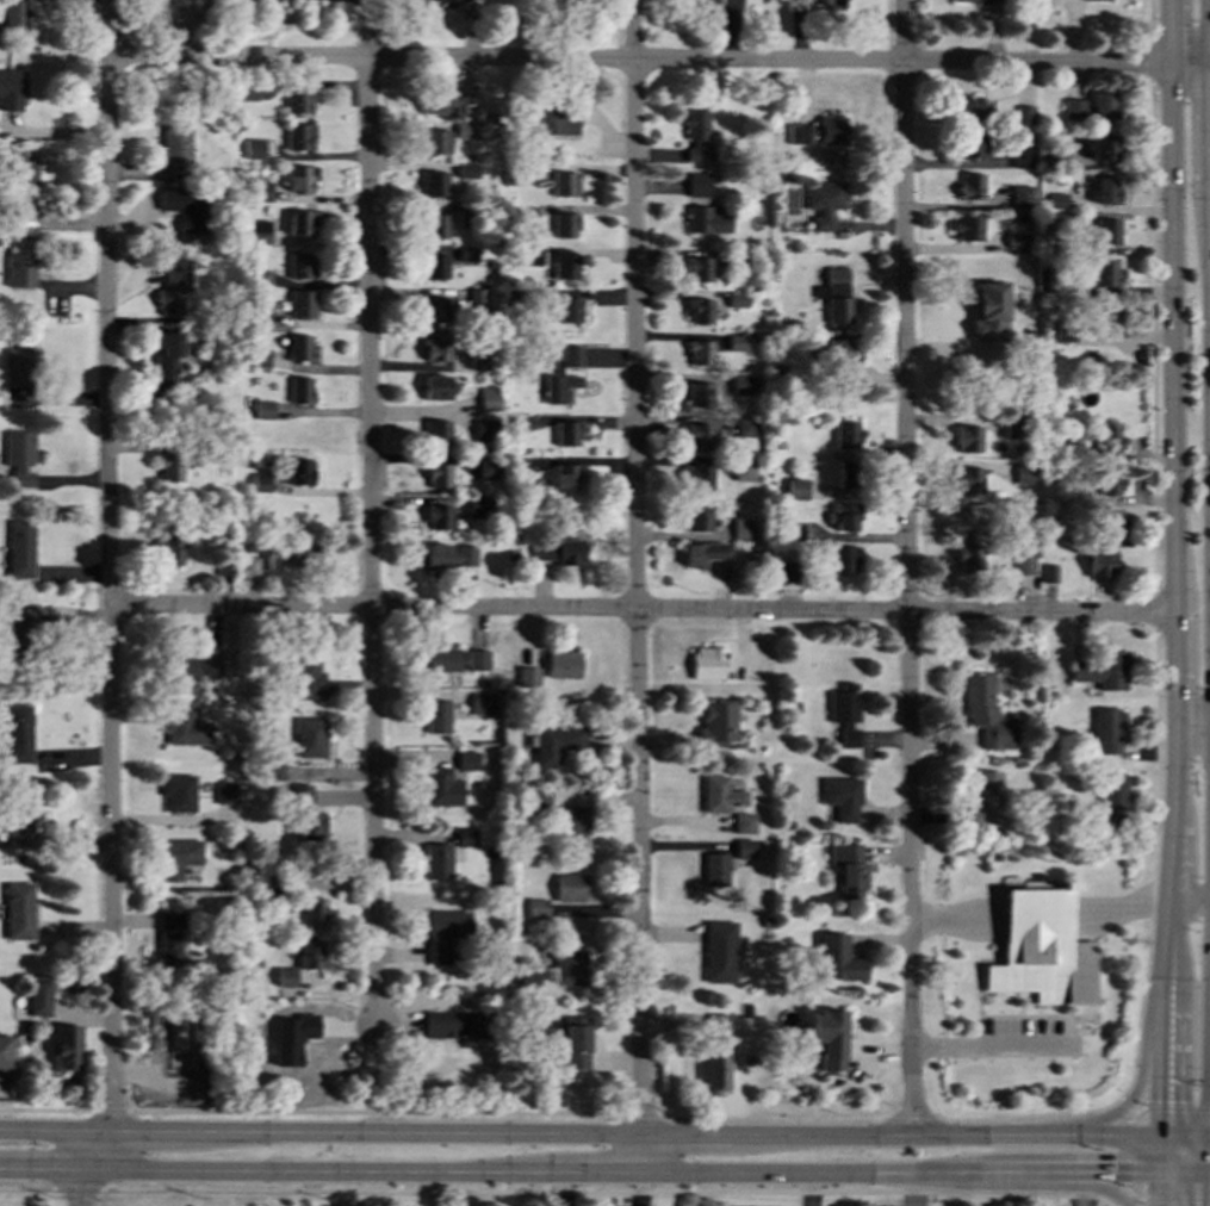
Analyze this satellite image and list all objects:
building: (448, 0)
building: (263, 1)
building: (480, 1)
building: (980, 1)
building: (1094, 1)
building: (831, 2)
building: (727, 8)
building: (12, 13)
road: (1149, 20)
road: (1180, 30)
road: (658, 61)
road: (1150, 62)
road: (1209, 70)
building: (11, 91)
building: (299, 100)
building: (440, 102)
building: (1104, 105)
building: (975, 108)
building: (1073, 108)
building: (1023, 114)
building: (554, 123)
building: (463, 131)
building: (819, 131)
building: (696, 135)
building: (298, 137)
building: (434, 142)
building: (174, 144)
building: (969, 145)
building: (1103, 147)
building: (254, 149)
building: (466, 170)
building: (300, 179)
building: (23, 180)
building: (433, 184)
building: (564, 184)
building: (697, 185)
building: (970, 186)
building: (1105, 189)
building: (259, 191)
building: (1020, 197)
building: (1055, 200)
building: (823, 203)
building: (182, 207)
building: (526, 212)
building: (705, 220)
building: (300, 222)
building: (564, 225)
building: (434, 226)
building: (968, 226)
building: (259, 230)
building: (1106, 230)
building: (1016, 241)
building: (466, 254)
building: (529, 257)
building: (299, 266)
building: (433, 266)
building: (564, 266)
building: (18, 269)
building: (699, 269)
building: (1107, 274)
building: (260, 276)
building: (172, 286)
building: (834, 296)
building: (477, 298)
building: (737, 300)
building: (300, 303)
building: (435, 309)
building: (566, 310)
building: (989, 310)
building: (699, 311)
building: (1105, 313)
building: (263, 316)
road: (1153, 337)
building: (737, 342)
building: (299, 347)
building: (434, 348)
building: (699, 352)
building: (837, 352)
building: (166, 354)
building: (259, 358)
building: (478, 358)
road: (1173, 365)
building: (18, 366)
building: (561, 375)
building: (743, 384)
building: (438, 388)
building: (299, 390)
building: (699, 393)
building: (489, 399)
building: (263, 410)
building: (744, 427)
building: (1012, 427)
building: (484, 430)
building: (435, 431)
building: (566, 433)
building: (846, 434)
building: (697, 435)
building: (967, 437)
building: (1106, 440)
building: (19, 456)
building: (169, 467)
building: (486, 468)
building: (743, 470)
building: (844, 473)
building: (1025, 473)
building: (438, 475)
building: (566, 475)
building: (697, 478)
building: (968, 480)
building: (260, 481)
building: (1107, 481)
building: (796, 489)
building: (477, 508)
road: (368, 514)
building: (438, 516)
building: (845, 516)
building: (697, 518)
building: (1109, 523)
building: (741, 528)
building: (793, 530)
building: (19, 549)
building: (558, 551)
building: (168, 552)
building: (298, 552)
building: (702, 552)
building: (968, 552)
building: (449, 555)
building: (844, 559)
building: (218, 561)
road: (108, 564)
building: (1023, 564)
building: (1099, 564)
building: (248, 565)
road: (635, 566)
road: (907, 566)
building: (786, 571)
building: (1048, 573)
road: (643, 609)
road: (1155, 611)
building: (17, 636)
building: (443, 659)
building: (477, 659)
building: (707, 663)
building: (560, 664)
building: (212, 665)
building: (181, 666)
building: (1100, 670)
building: (527, 677)
building: (305, 678)
road: (1183, 698)
building: (480, 702)
building: (844, 711)
building: (986, 713)
building: (436, 715)
building: (716, 723)
building: (184, 727)
road: (1193, 729)
building: (1107, 731)
building: (18, 733)
building: (309, 736)
building: (554, 744)
building: (466, 760)
road: (1175, 777)
building: (440, 788)
building: (178, 791)
building: (225, 792)
building: (719, 794)
building: (1111, 794)
building: (299, 795)
building: (840, 797)
building: (987, 801)
building: (18, 821)
building: (743, 823)
building: (569, 825)
building: (308, 826)
building: (465, 837)
building: (743, 848)
building: (176, 857)
building: (438, 860)
road: (1173, 865)
road: (1152, 866)
building: (713, 868)
building: (848, 869)
building: (1038, 884)
building: (569, 888)
building: (536, 906)
road: (1191, 906)
building: (312, 909)
building: (17, 910)
road: (1042, 913)
building: (443, 934)
building: (168, 938)
road: (1172, 943)
building: (1042, 949)
building: (719, 952)
building: (309, 955)
building: (837, 958)
building: (569, 966)
building: (285, 976)
building: (528, 978)
building: (38, 997)
road: (1209, 1017)
building: (453, 1024)
building: (714, 1024)
building: (291, 1038)
building: (827, 1038)
road: (993, 1045)
building: (64, 1046)
building: (5, 1051)
road: (1158, 1057)
road: (374, 1070)
building: (714, 1073)
road: (1180, 1081)
road: (1209, 1100)
road: (1129, 1105)
road: (1125, 1106)
road: (1172, 1108)
road: (46, 1109)
road: (108, 1111)
road: (373, 1113)
road: (639, 1113)
road: (912, 1113)
road: (1029, 1114)
road: (772, 1119)
road: (52, 1127)
road: (145, 1129)
road: (415, 1129)
road: (687, 1132)
road: (943, 1133)
traffic signals: (1159, 1136)
road: (1184, 1136)
traffic signals: (1209, 1136)
road: (101, 1148)
road: (645, 1151)
road: (1158, 1155)
road: (4, 1165)
road: (51, 1167)
road: (1181, 1167)
road: (321, 1169)
road: (596, 1171)
road: (815, 1171)
road: (1017, 1173)
road: (1127, 1174)
traffic signals: (1158, 1175)
traffic signals: (1208, 1175)
road: (1209, 1175)
road: (1094, 1180)
road: (87, 1186)
road: (27, 1188)
road: (912, 1188)
road: (77, 1189)
road: (1133, 1189)
road: (608, 1191)
road: (1158, 1191)
road: (1208, 1191)
road: (1080, 1192)
road: (1127, 1198)

